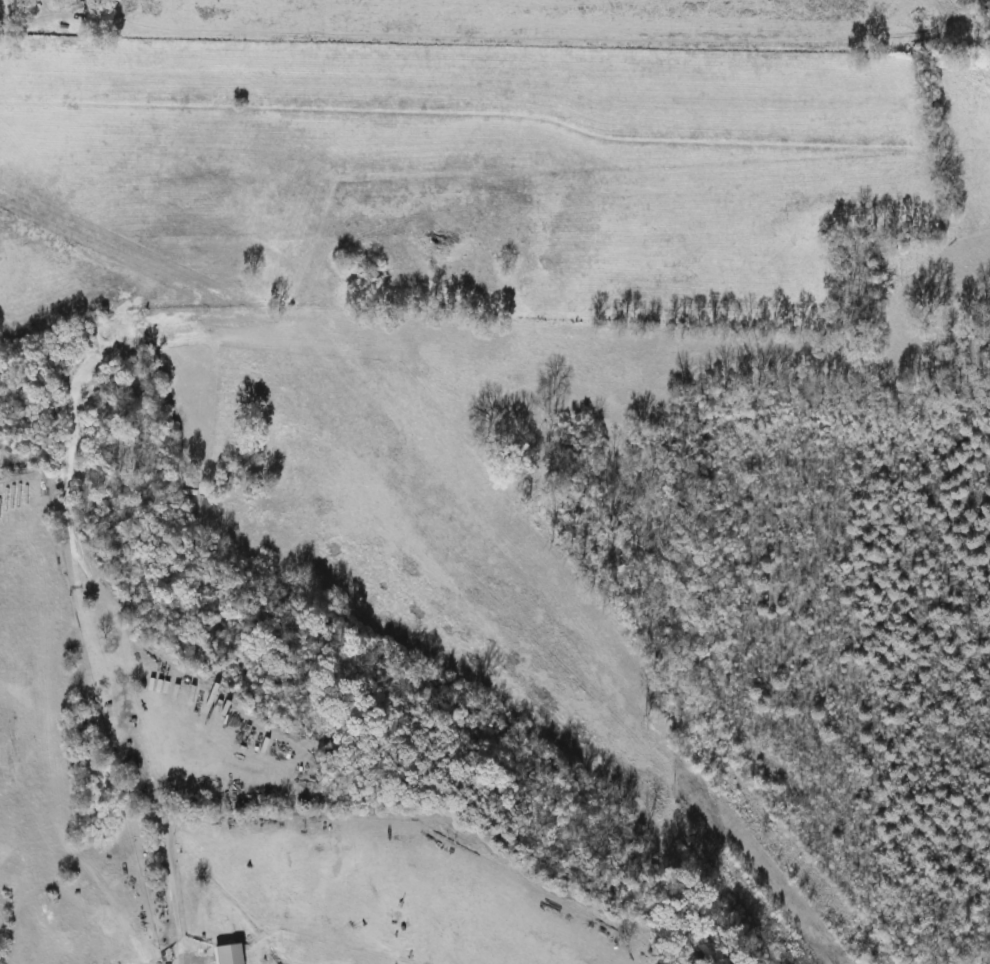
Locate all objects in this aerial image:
road: (6, 24)
building: (232, 955)

